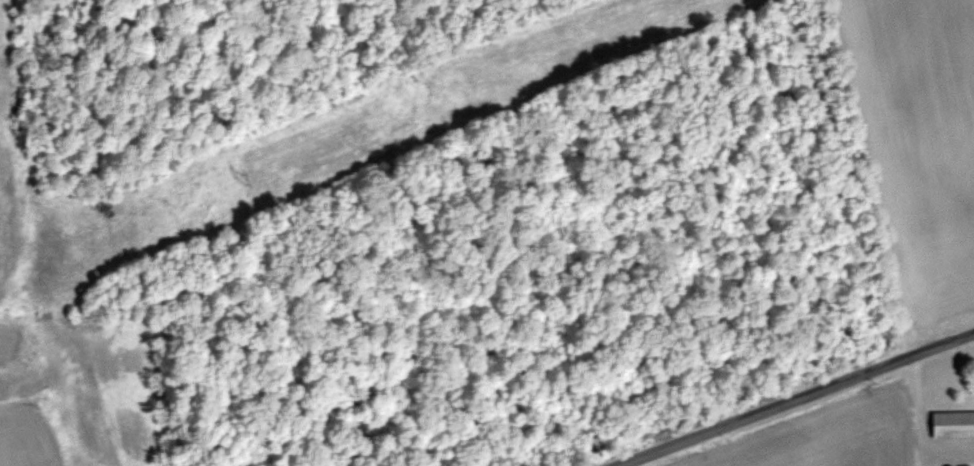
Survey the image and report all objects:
road: (779, 393)
road: (913, 397)
building: (953, 424)

